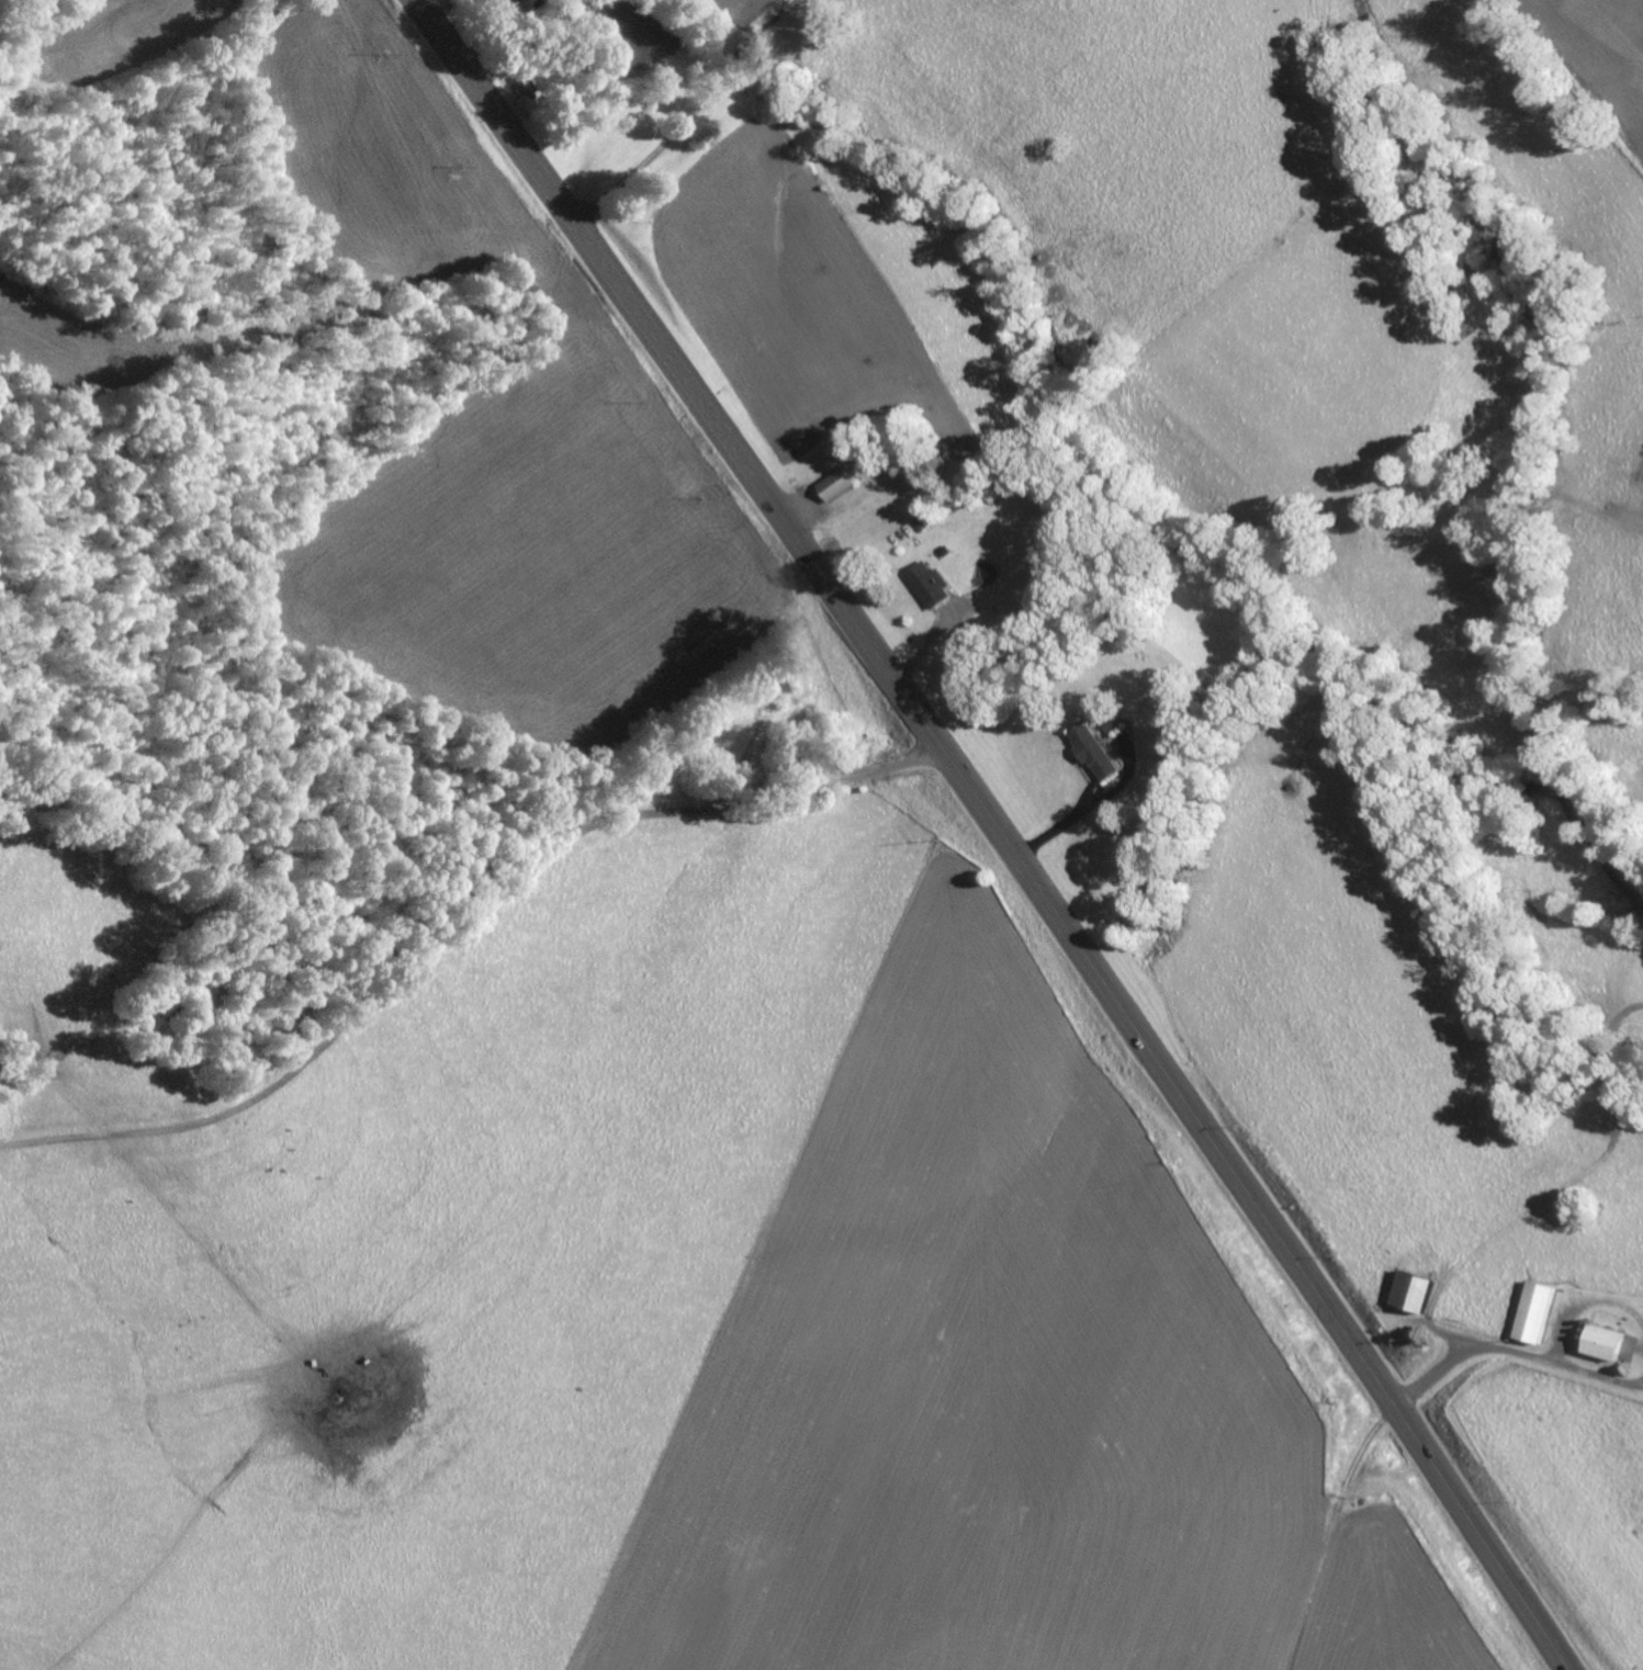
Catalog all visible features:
road: (22, 14)
building: (834, 484)
building: (929, 583)
building: (1091, 751)
road: (998, 828)
road: (463, 916)
building: (1407, 1291)
building: (1530, 1312)
building: (1598, 1342)
road: (1503, 1367)

